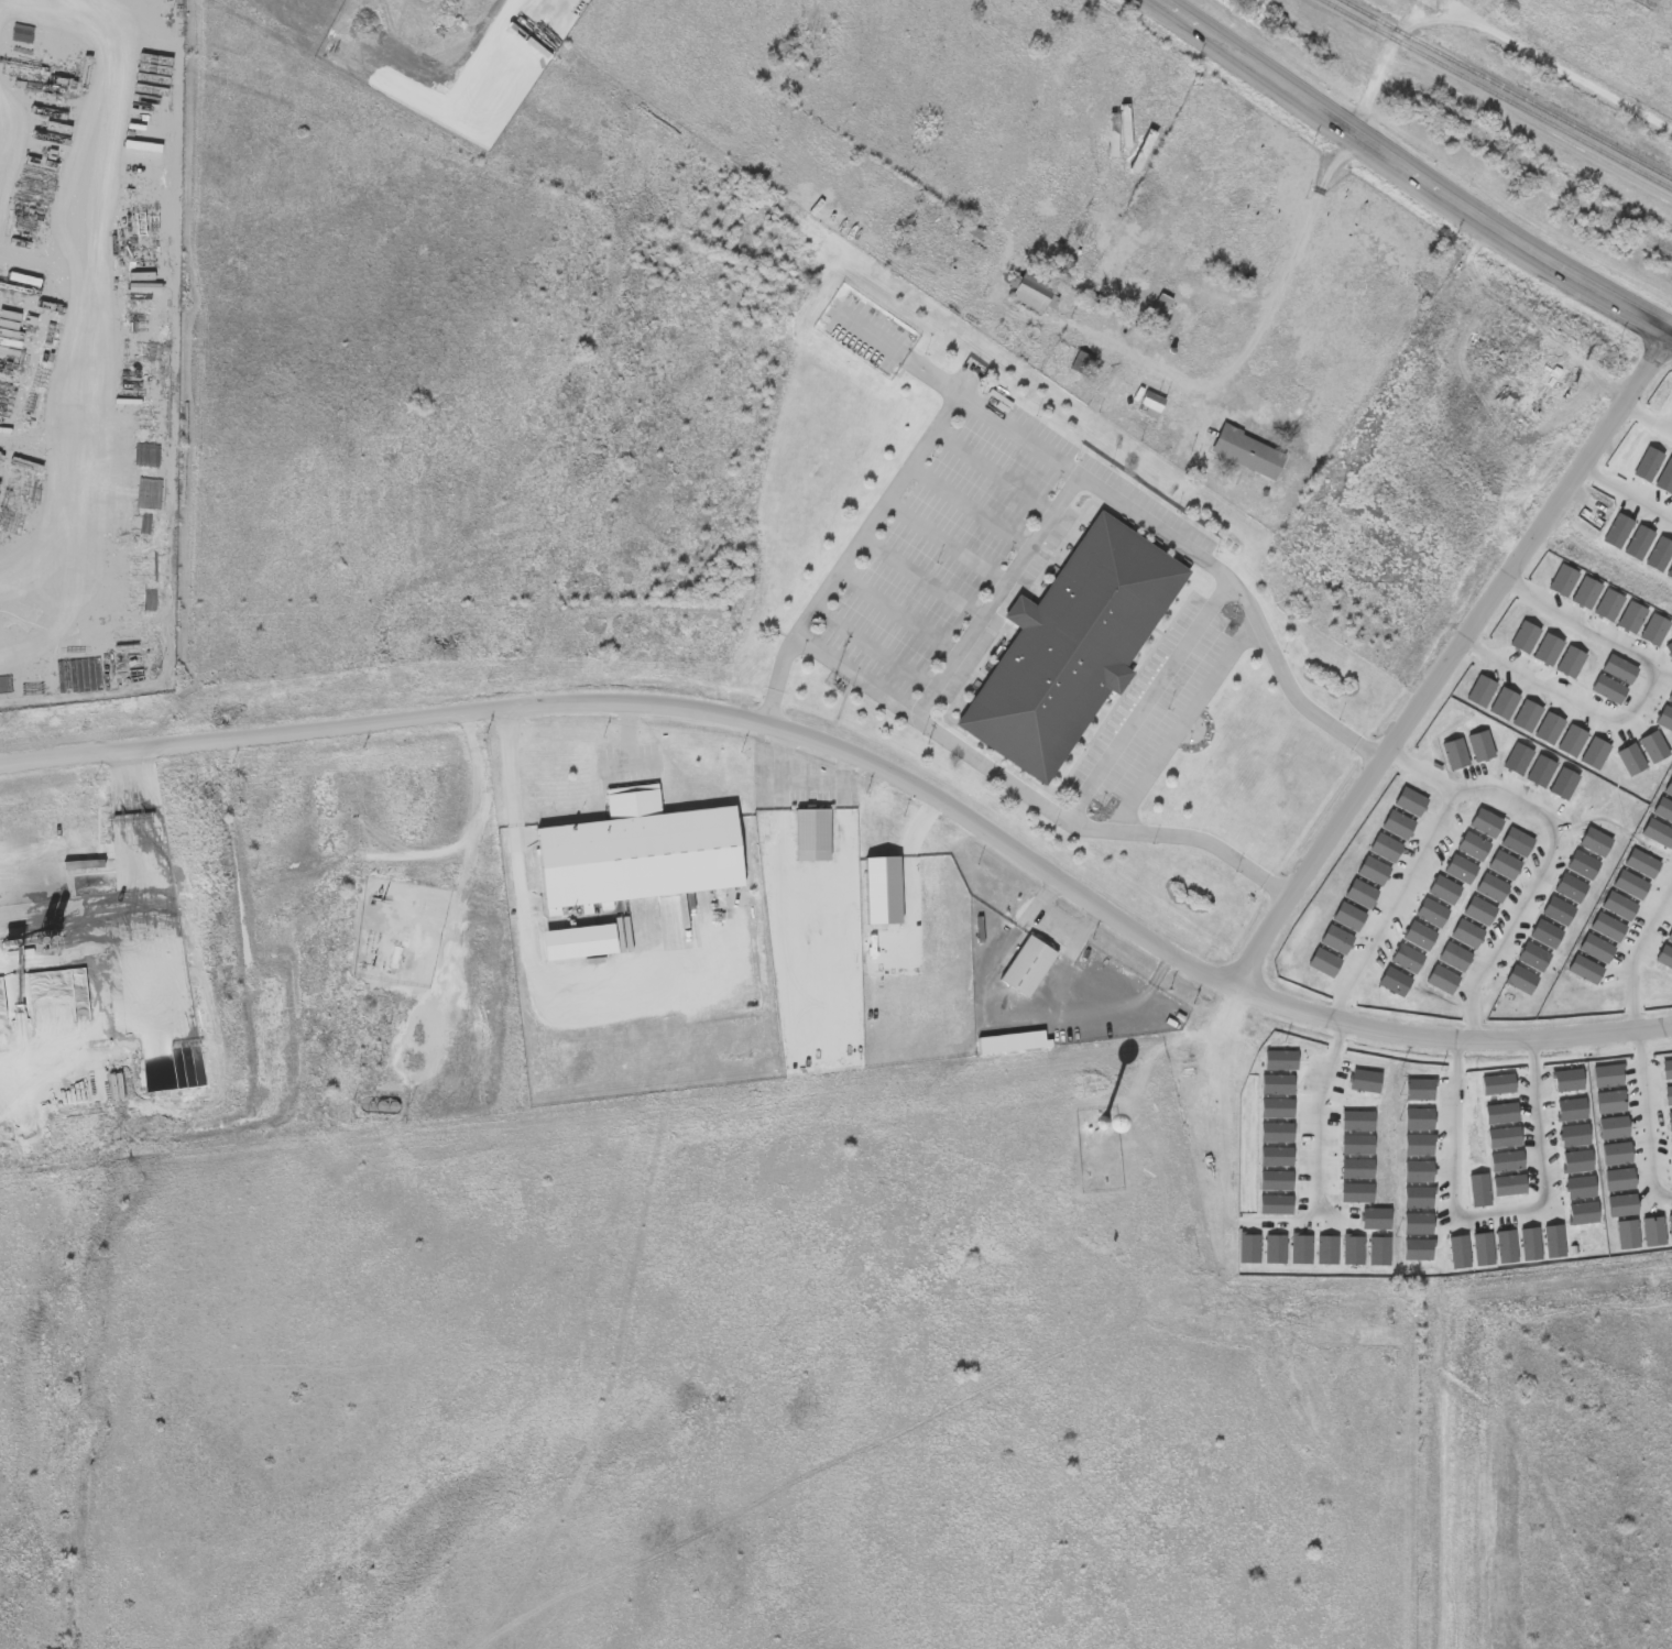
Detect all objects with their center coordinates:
road: (1529, 50)
railway: (1508, 88)
railway: (1498, 92)
road: (1412, 172)
building: (1032, 290)
road: (1272, 296)
building: (1160, 306)
road: (901, 345)
building: (1081, 362)
building: (1151, 403)
building: (1249, 451)
road: (1074, 465)
road: (992, 468)
road: (1628, 495)
road: (968, 504)
road: (943, 539)
road: (919, 575)
road: (996, 590)
road: (895, 610)
building: (1073, 642)
road: (872, 644)
road: (1450, 660)
road: (1148, 692)
road: (1640, 698)
road: (1184, 718)
road: (627, 743)
road: (618, 757)
road: (866, 758)
road: (992, 764)
road: (1424, 769)
road: (800, 774)
road: (1499, 793)
road: (524, 905)
road: (1060, 911)
road: (1636, 952)
road: (1217, 1030)
road: (1650, 1120)
road: (1325, 1122)
road: (1497, 1215)
road: (1298, 1221)

